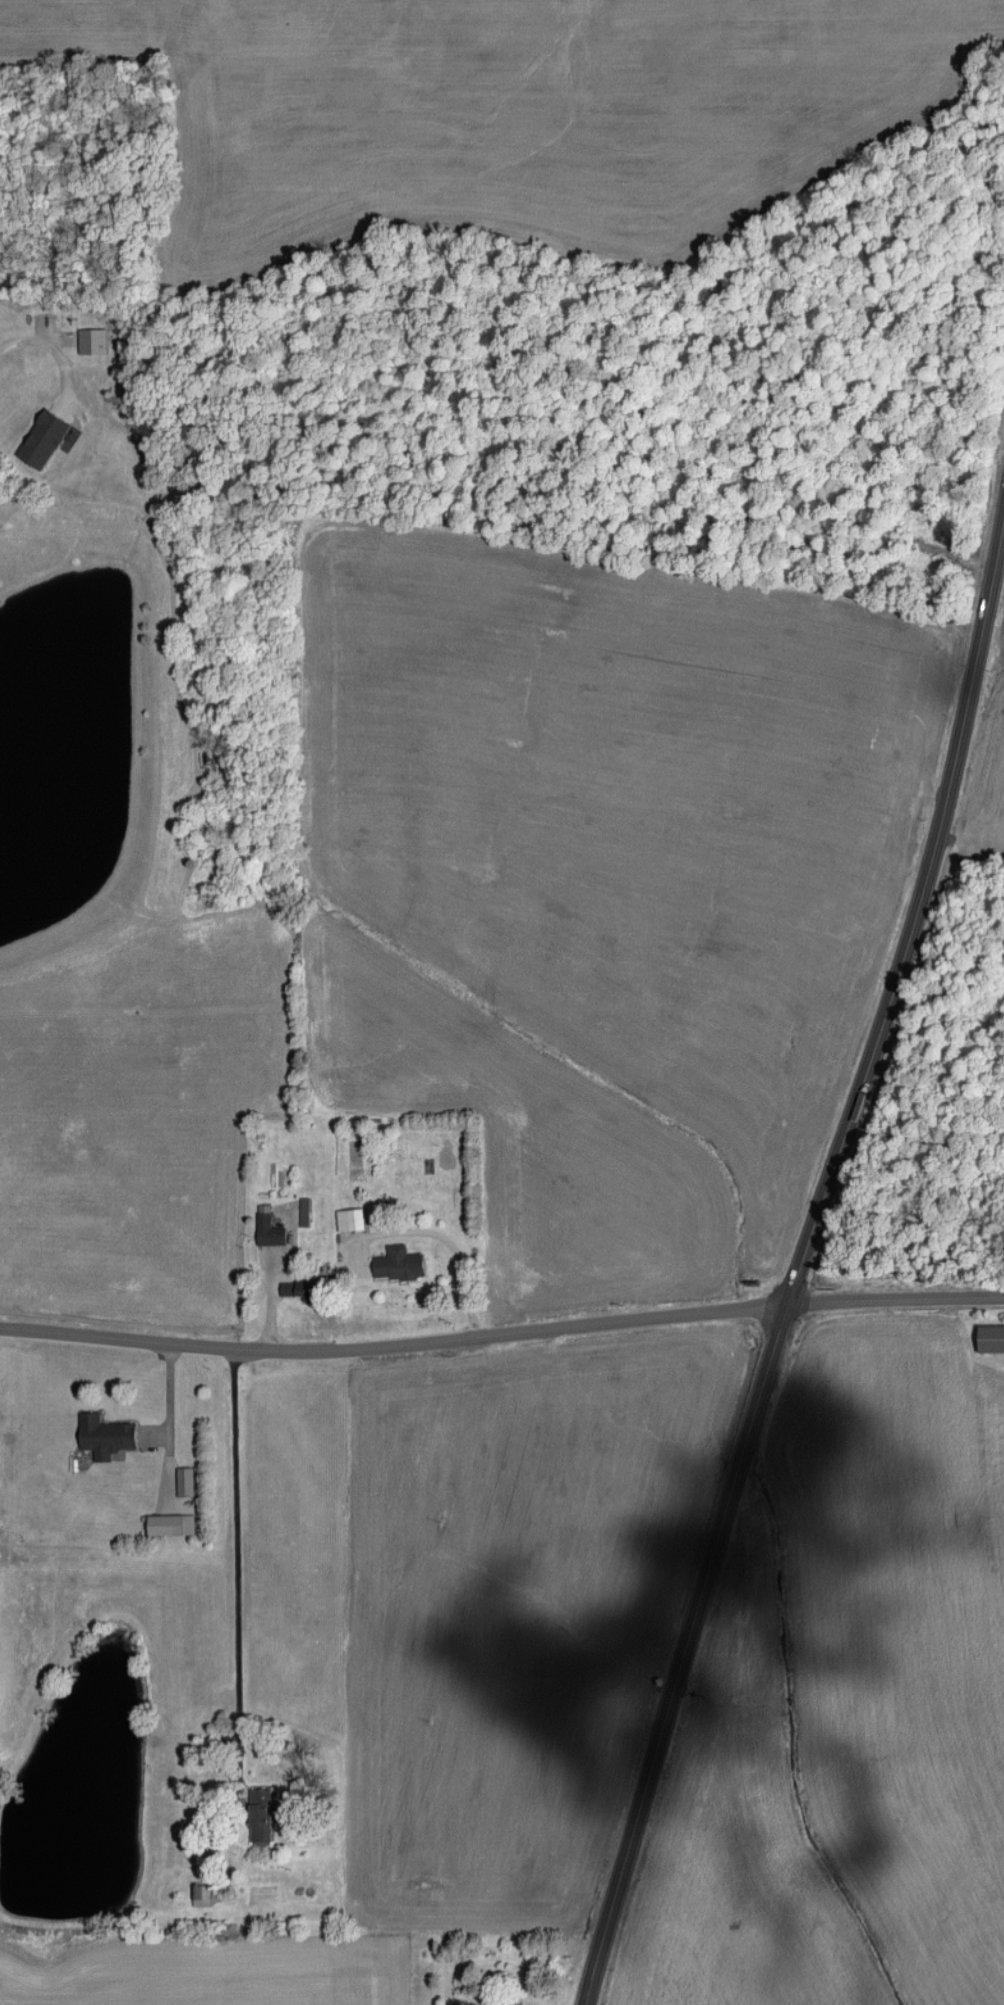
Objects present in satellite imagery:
road: (42, 342)
building: (42, 455)
building: (359, 1219)
building: (270, 1228)
road: (437, 1237)
road: (800, 1261)
building: (401, 1264)
road: (273, 1273)
building: (288, 1288)
road: (896, 1299)
building: (992, 1338)
road: (394, 1345)
road: (170, 1420)
building: (107, 1434)
building: (168, 1526)
road: (237, 1547)
building: (261, 1816)
building: (202, 1895)

